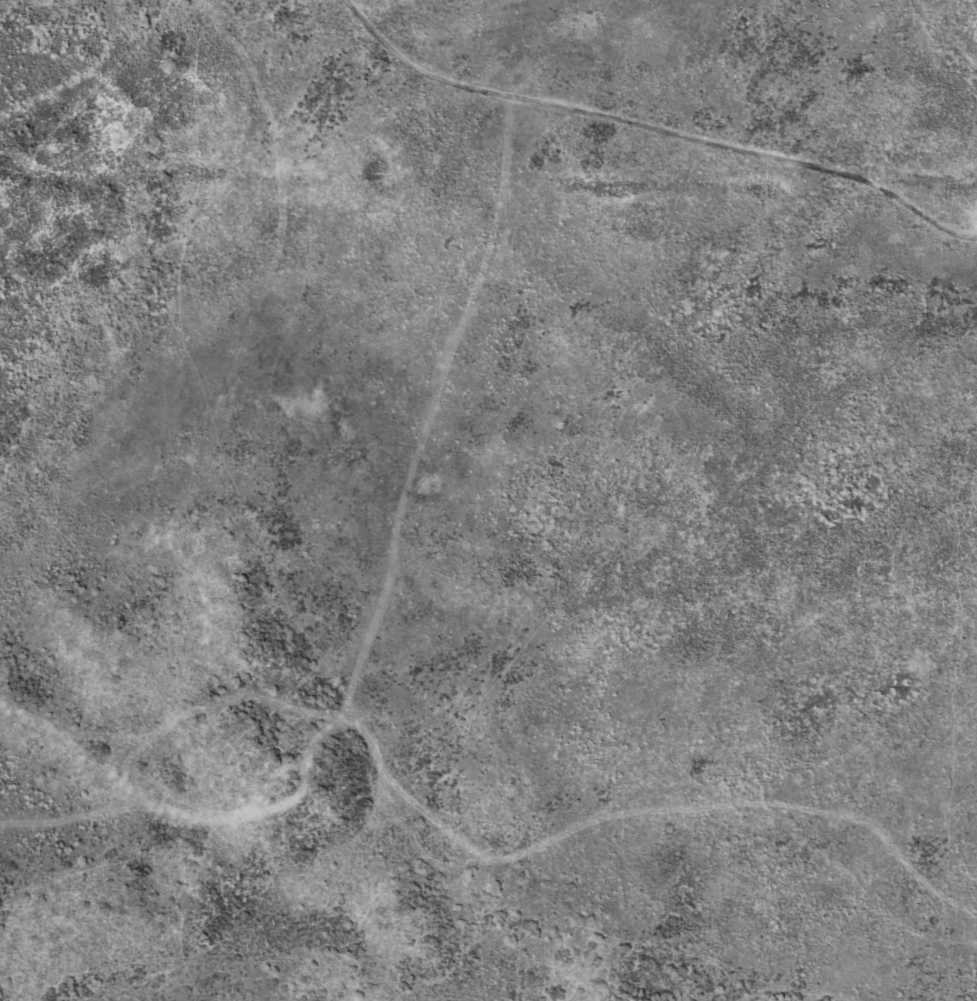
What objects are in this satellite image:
road: (658, 126)

